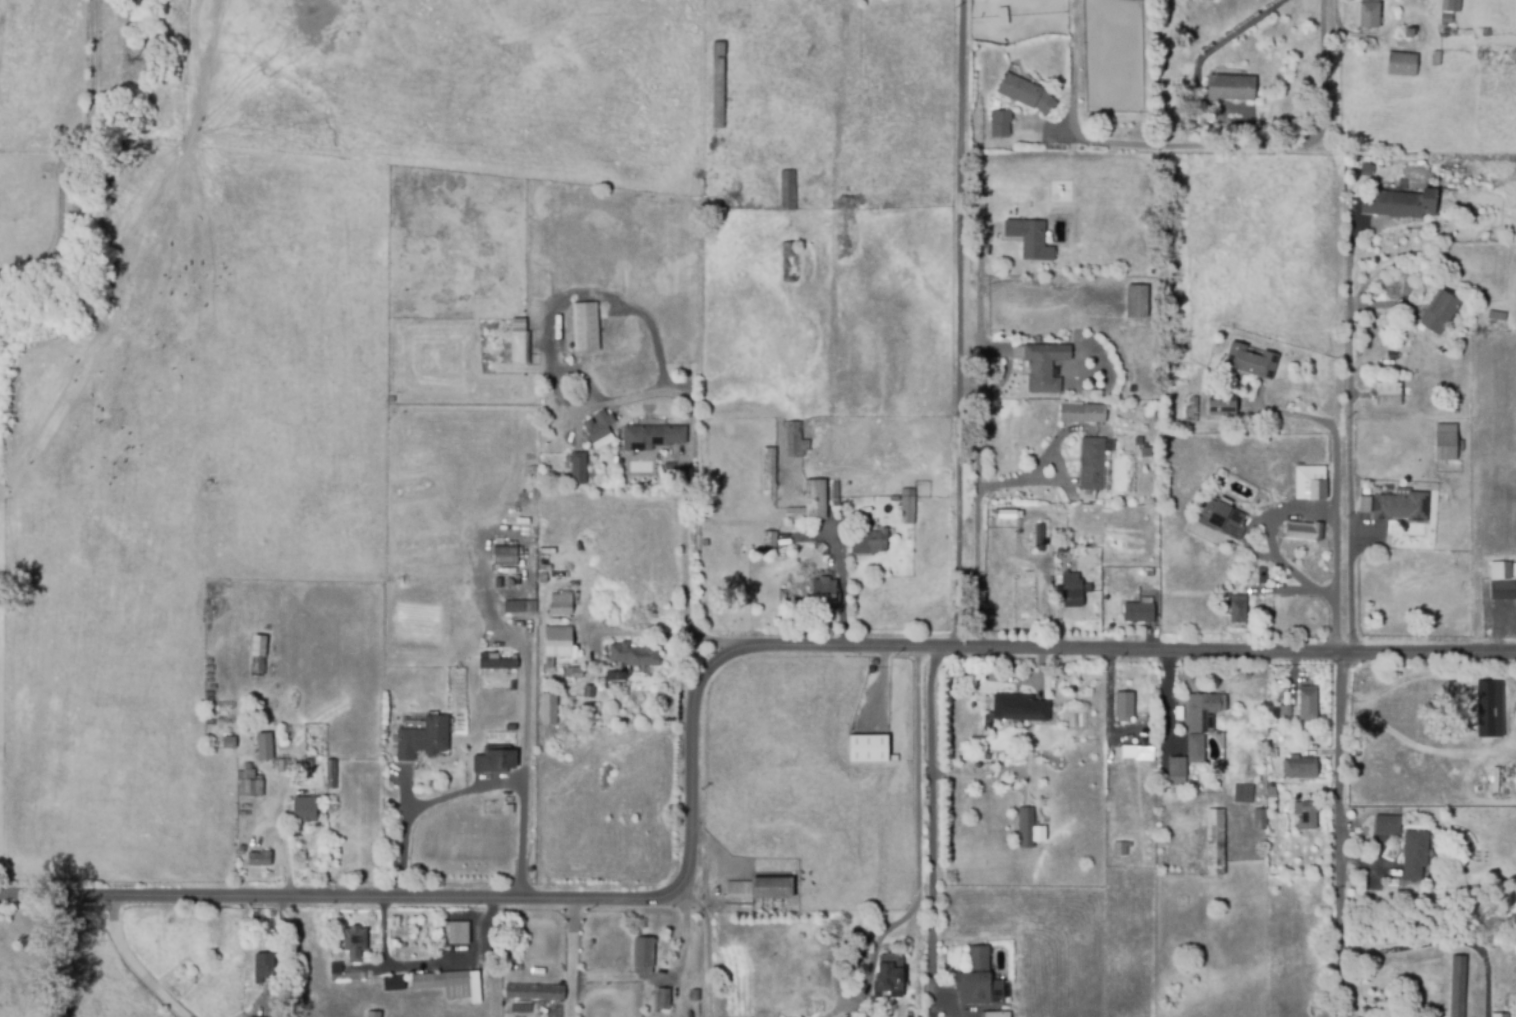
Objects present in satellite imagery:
building: (1451, 5)
building: (1370, 15)
building: (1447, 18)
building: (1445, 31)
building: (1409, 32)
road: (1228, 37)
building: (1400, 63)
building: (1428, 63)
building: (716, 85)
building: (1232, 87)
building: (1026, 94)
building: (1000, 123)
road: (1198, 146)
road: (73, 158)
building: (787, 191)
building: (1399, 202)
building: (848, 227)
building: (1030, 239)
building: (1069, 252)
building: (789, 262)
building: (1137, 301)
building: (1439, 311)
road: (961, 322)
building: (585, 326)
building: (519, 343)
building: (1014, 350)
building: (1251, 361)
building: (1045, 366)
building: (1388, 393)
building: (1222, 406)
building: (1082, 414)
building: (599, 429)
building: (652, 437)
building: (795, 441)
building: (1446, 441)
road: (979, 443)
building: (1146, 452)
road: (1350, 455)
building: (1094, 462)
building: (768, 469)
road: (1035, 469)
building: (578, 470)
building: (1311, 482)
road: (684, 488)
road: (1334, 498)
building: (810, 503)
building: (1364, 504)
building: (1401, 505)
building: (908, 506)
building: (999, 514)
building: (1223, 520)
building: (1305, 529)
building: (1039, 538)
building: (769, 541)
building: (869, 541)
road: (1271, 541)
building: (546, 551)
building: (543, 568)
building: (1497, 569)
road: (843, 576)
building: (1262, 576)
building: (560, 584)
building: (1503, 590)
building: (1070, 591)
building: (824, 592)
building: (561, 604)
building: (519, 606)
building: (1237, 612)
building: (1138, 613)
road: (623, 632)
road: (592, 643)
building: (557, 645)
building: (639, 653)
building: (257, 656)
building: (498, 663)
building: (576, 673)
building: (614, 676)
building: (588, 692)
building: (1308, 704)
building: (1123, 707)
building: (1489, 707)
building: (548, 708)
building: (1020, 708)
road: (692, 713)
building: (1283, 713)
building: (1192, 734)
building: (422, 739)
building: (227, 742)
building: (263, 747)
building: (869, 750)
building: (1139, 754)
building: (494, 760)
building: (308, 766)
building: (280, 767)
building: (1299, 768)
road: (523, 771)
building: (330, 774)
building: (251, 785)
building: (1243, 794)
building: (326, 800)
road: (423, 804)
building: (303, 809)
building: (508, 810)
building: (1306, 816)
building: (1258, 819)
building: (1389, 823)
road: (931, 824)
building: (1026, 828)
road: (1342, 835)
road: (921, 840)
building: (1215, 844)
building: (1119, 849)
building: (1417, 854)
building: (258, 859)
building: (760, 889)
building: (455, 933)
building: (354, 943)
road: (707, 946)
road: (1429, 951)
building: (642, 954)
road: (571, 958)
road: (131, 964)
building: (265, 967)
road: (667, 974)
building: (342, 975)
building: (889, 978)
building: (978, 981)
road: (1487, 983)
building: (392, 984)
building: (450, 984)
building: (1458, 985)
building: (534, 994)
building: (695, 996)
building: (662, 999)
building: (1377, 1008)
building: (372, 1014)
building: (997, 1015)
building: (1499, 1015)

